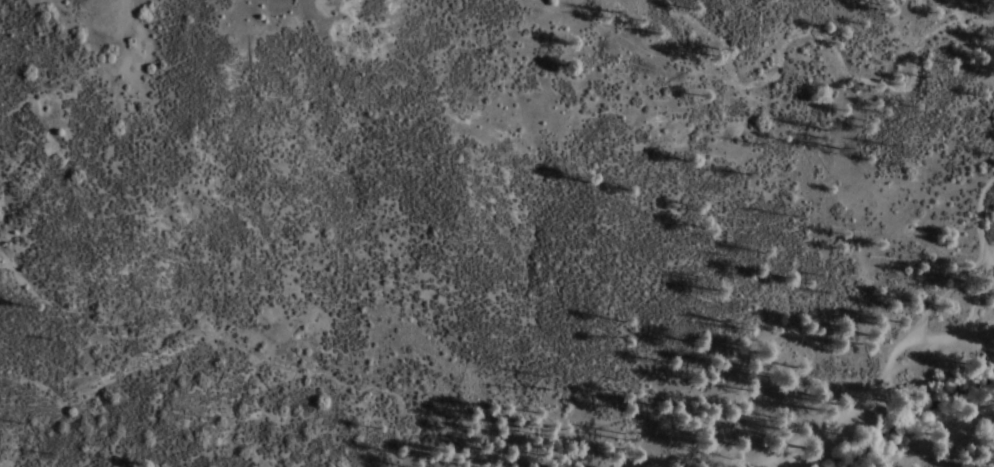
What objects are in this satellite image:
road: (957, 21)
road: (992, 280)

